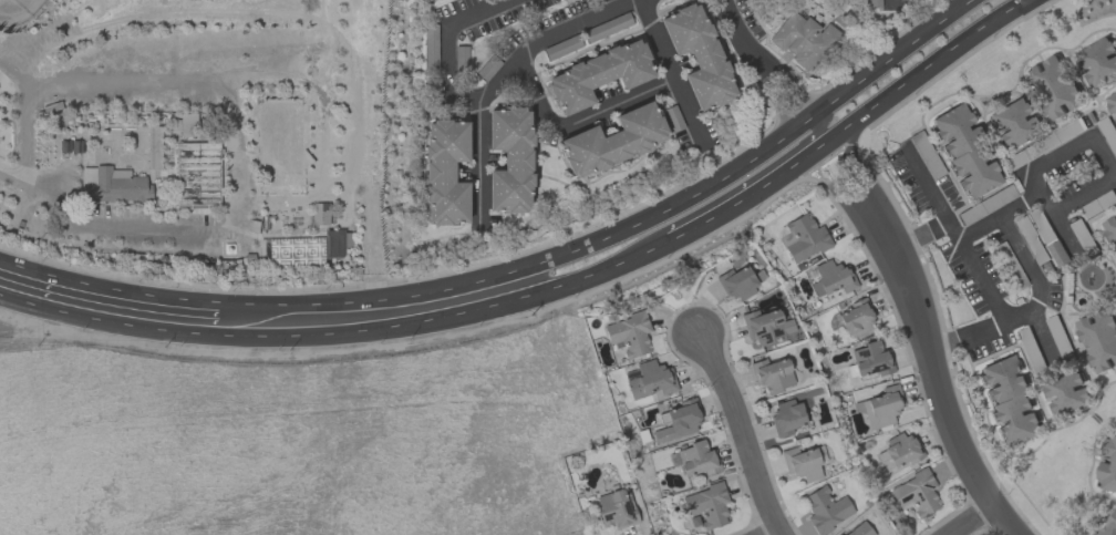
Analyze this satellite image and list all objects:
road: (613, 7)
road: (743, 32)
road: (554, 37)
building: (803, 39)
road: (447, 49)
building: (697, 55)
road: (157, 56)
building: (1098, 61)
building: (597, 75)
road: (913, 78)
building: (1053, 86)
road: (790, 88)
road: (778, 97)
building: (1112, 103)
road: (617, 106)
road: (689, 114)
road: (25, 115)
building: (1013, 124)
building: (187, 125)
road: (321, 127)
road: (818, 136)
building: (612, 141)
road: (1097, 145)
building: (964, 151)
road: (752, 156)
building: (510, 160)
road: (851, 161)
road: (479, 163)
building: (444, 172)
building: (197, 174)
road: (363, 179)
road: (929, 184)
building: (113, 186)
road: (738, 199)
road: (1045, 203)
building: (198, 209)
road: (931, 229)
building: (1110, 230)
road: (235, 233)
building: (802, 238)
building: (333, 245)
road: (1020, 247)
rooftop solar panel: (339, 248)
road: (595, 271)
building: (830, 278)
building: (736, 284)
road: (113, 306)
road: (373, 316)
building: (856, 318)
rooftop solar panel: (778, 322)
building: (765, 327)
building: (629, 333)
rooftop solar panel: (759, 333)
rooftop solar panel: (775, 335)
rooftop solar panel: (766, 339)
building: (1098, 339)
rooftop solar panel: (864, 354)
building: (869, 360)
rooftop solar panel: (880, 371)
road: (934, 371)
building: (772, 375)
building: (1065, 392)
building: (1010, 401)
building: (878, 410)
building: (786, 418)
building: (676, 422)
road: (744, 434)
building: (899, 451)
building: (696, 460)
building: (800, 464)
building: (1107, 469)
rooftop solar panel: (928, 487)
building: (914, 493)
rooftop solar panel: (907, 498)
building: (706, 506)
building: (616, 508)
building: (826, 510)
rooftop solar panel: (627, 511)
rooftop solar panel: (608, 517)
road: (978, 522)
building: (1108, 525)
building: (859, 529)
road: (782, 534)

